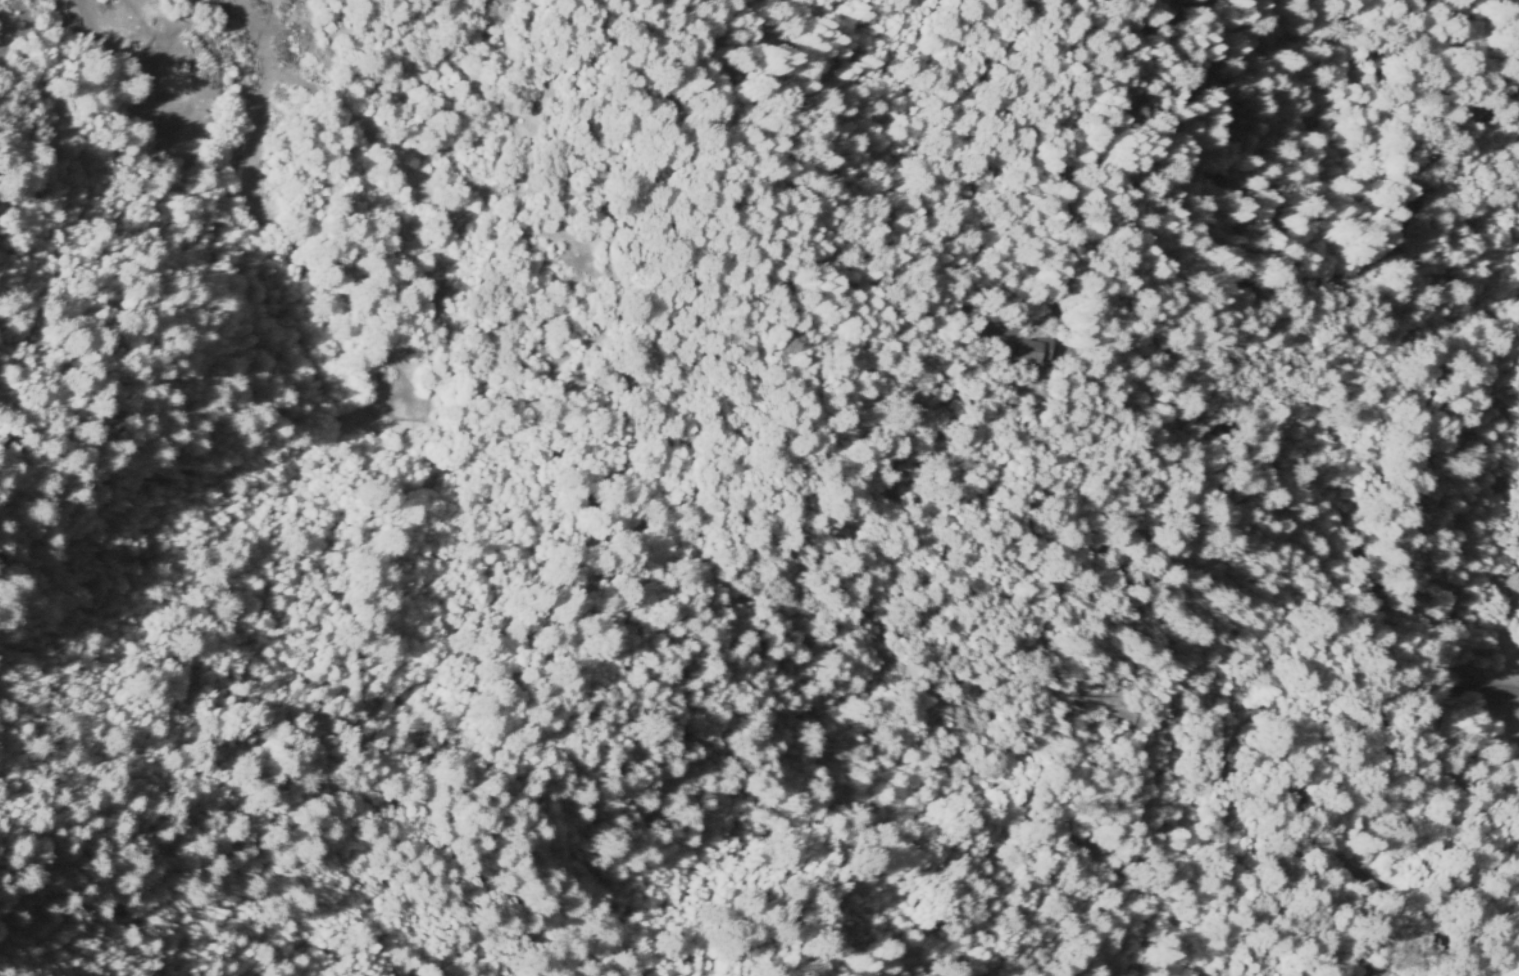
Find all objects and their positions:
building: (1031, 350)
building: (1169, 831)
building: (1087, 835)

